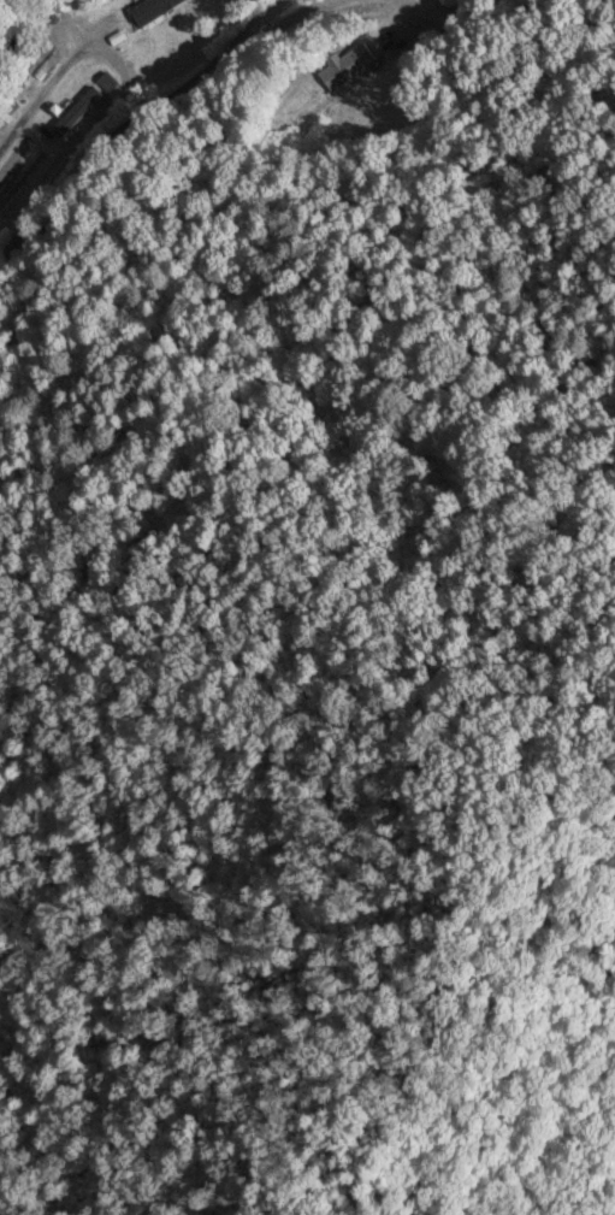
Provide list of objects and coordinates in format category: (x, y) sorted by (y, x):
road: (105, 78)

